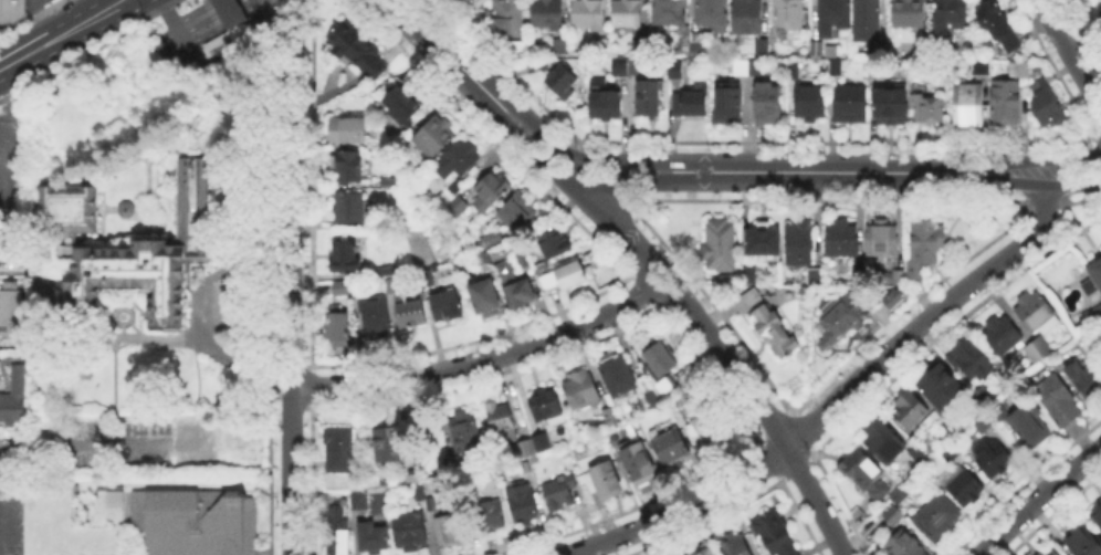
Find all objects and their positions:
road: (223, 4)
building: (671, 11)
building: (1100, 12)
building: (628, 13)
building: (713, 13)
building: (909, 13)
building: (953, 13)
building: (548, 14)
building: (791, 14)
building: (13, 15)
road: (285, 15)
road: (294, 15)
building: (587, 15)
road: (169, 17)
building: (747, 17)
building: (830, 17)
road: (200, 19)
building: (229, 19)
building: (507, 20)
building: (869, 20)
building: (999, 27)
road: (63, 34)
building: (702, 45)
building: (638, 46)
building: (814, 46)
building: (563, 48)
road: (442, 49)
building: (358, 50)
building: (521, 51)
road: (1070, 53)
building: (753, 62)
building: (622, 65)
building: (541, 66)
building: (983, 67)
building: (635, 70)
building: (836, 70)
building: (874, 70)
building: (1025, 71)
building: (677, 74)
building: (563, 83)
building: (651, 100)
building: (605, 101)
building: (810, 101)
building: (1049, 101)
building: (693, 103)
building: (769, 103)
building: (1007, 103)
building: (405, 104)
building: (730, 105)
building: (969, 105)
building: (852, 106)
building: (891, 106)
building: (931, 111)
building: (809, 121)
road: (539, 128)
building: (350, 132)
building: (437, 136)
road: (533, 154)
road: (549, 154)
road: (616, 157)
building: (458, 158)
road: (1071, 158)
road: (1002, 160)
building: (349, 168)
road: (606, 169)
road: (821, 171)
road: (585, 181)
road: (632, 182)
road: (1003, 182)
building: (390, 184)
road: (1071, 186)
building: (493, 189)
building: (65, 207)
building: (123, 207)
building: (350, 207)
building: (454, 209)
building: (521, 212)
building: (883, 238)
building: (492, 239)
building: (765, 239)
building: (843, 239)
building: (801, 243)
building: (556, 244)
building: (722, 245)
building: (922, 245)
road: (12, 255)
building: (143, 256)
building: (347, 258)
building: (485, 261)
building: (524, 262)
building: (389, 272)
building: (751, 275)
building: (816, 275)
building: (567, 276)
building: (900, 279)
building: (428, 280)
building: (731, 281)
building: (1094, 281)
building: (391, 284)
building: (516, 286)
building: (345, 291)
road: (291, 292)
building: (485, 295)
building: (885, 296)
building: (754, 299)
building: (11, 301)
building: (449, 307)
building: (1095, 310)
building: (1035, 312)
building: (413, 315)
building: (378, 317)
building: (845, 320)
building: (338, 324)
building: (775, 332)
building: (1003, 336)
building: (1037, 352)
road: (484, 359)
building: (972, 360)
building: (661, 363)
road: (732, 363)
building: (619, 377)
building: (1087, 379)
building: (943, 389)
building: (580, 390)
building: (987, 394)
building: (14, 399)
building: (656, 399)
building: (1058, 400)
road: (833, 402)
building: (547, 404)
building: (911, 412)
building: (609, 416)
building: (930, 419)
building: (701, 421)
building: (939, 423)
building: (503, 425)
building: (982, 425)
building: (1028, 427)
building: (468, 431)
building: (392, 441)
building: (884, 442)
road: (182, 446)
building: (535, 448)
building: (672, 448)
building: (953, 450)
road: (7, 451)
building: (342, 451)
building: (916, 452)
building: (992, 458)
building: (638, 459)
building: (867, 475)
building: (607, 481)
building: (964, 485)
building: (419, 492)
building: (562, 493)
building: (113, 496)
building: (901, 496)
road: (1035, 496)
building: (358, 500)
building: (524, 505)
road: (2, 514)
building: (894, 514)
parking lot: (12, 515)
building: (1098, 515)
building: (492, 517)
building: (939, 517)
building: (195, 522)
building: (449, 530)
building: (338, 533)
building: (411, 533)
building: (783, 534)
building: (375, 540)
building: (1086, 543)
building: (904, 545)
building: (737, 546)
building: (705, 551)
building: (1055, 552)

